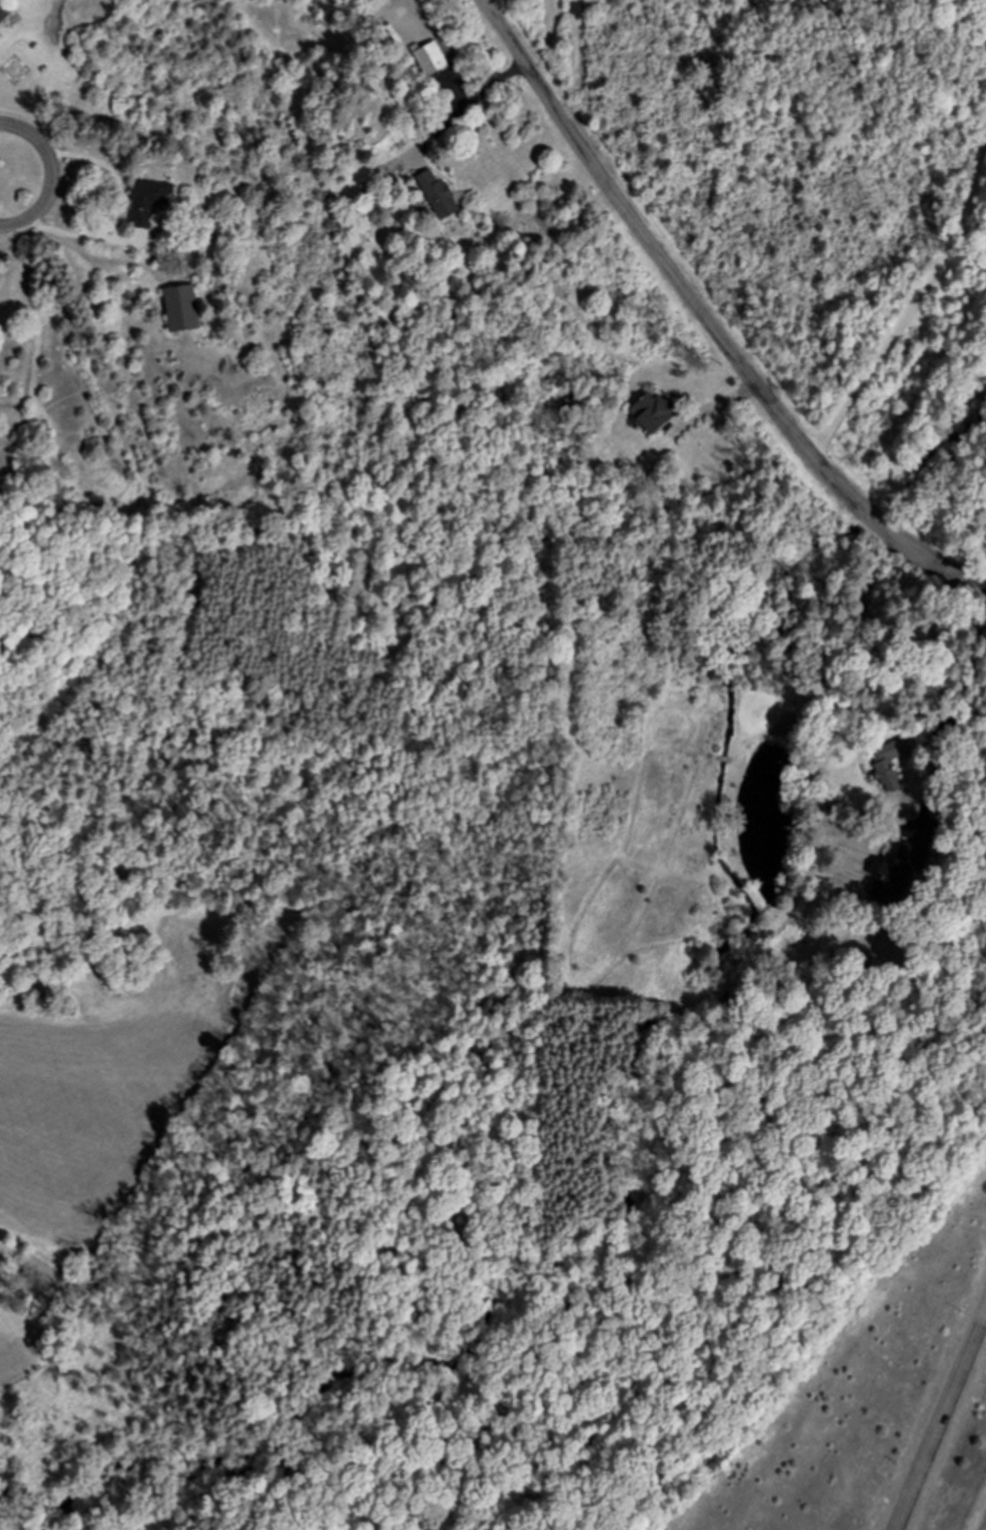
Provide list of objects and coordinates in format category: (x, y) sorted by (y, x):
building: (3, 12)
building: (429, 58)
road: (477, 113)
road: (3, 179)
road: (3, 183)
road: (3, 186)
building: (437, 195)
building: (147, 201)
road: (910, 307)
building: (180, 308)
road: (705, 320)
building: (651, 411)
road: (957, 664)
building: (888, 763)
building: (897, 874)
river: (630, 1214)
quarry: (819, 1372)
road: (941, 1420)

